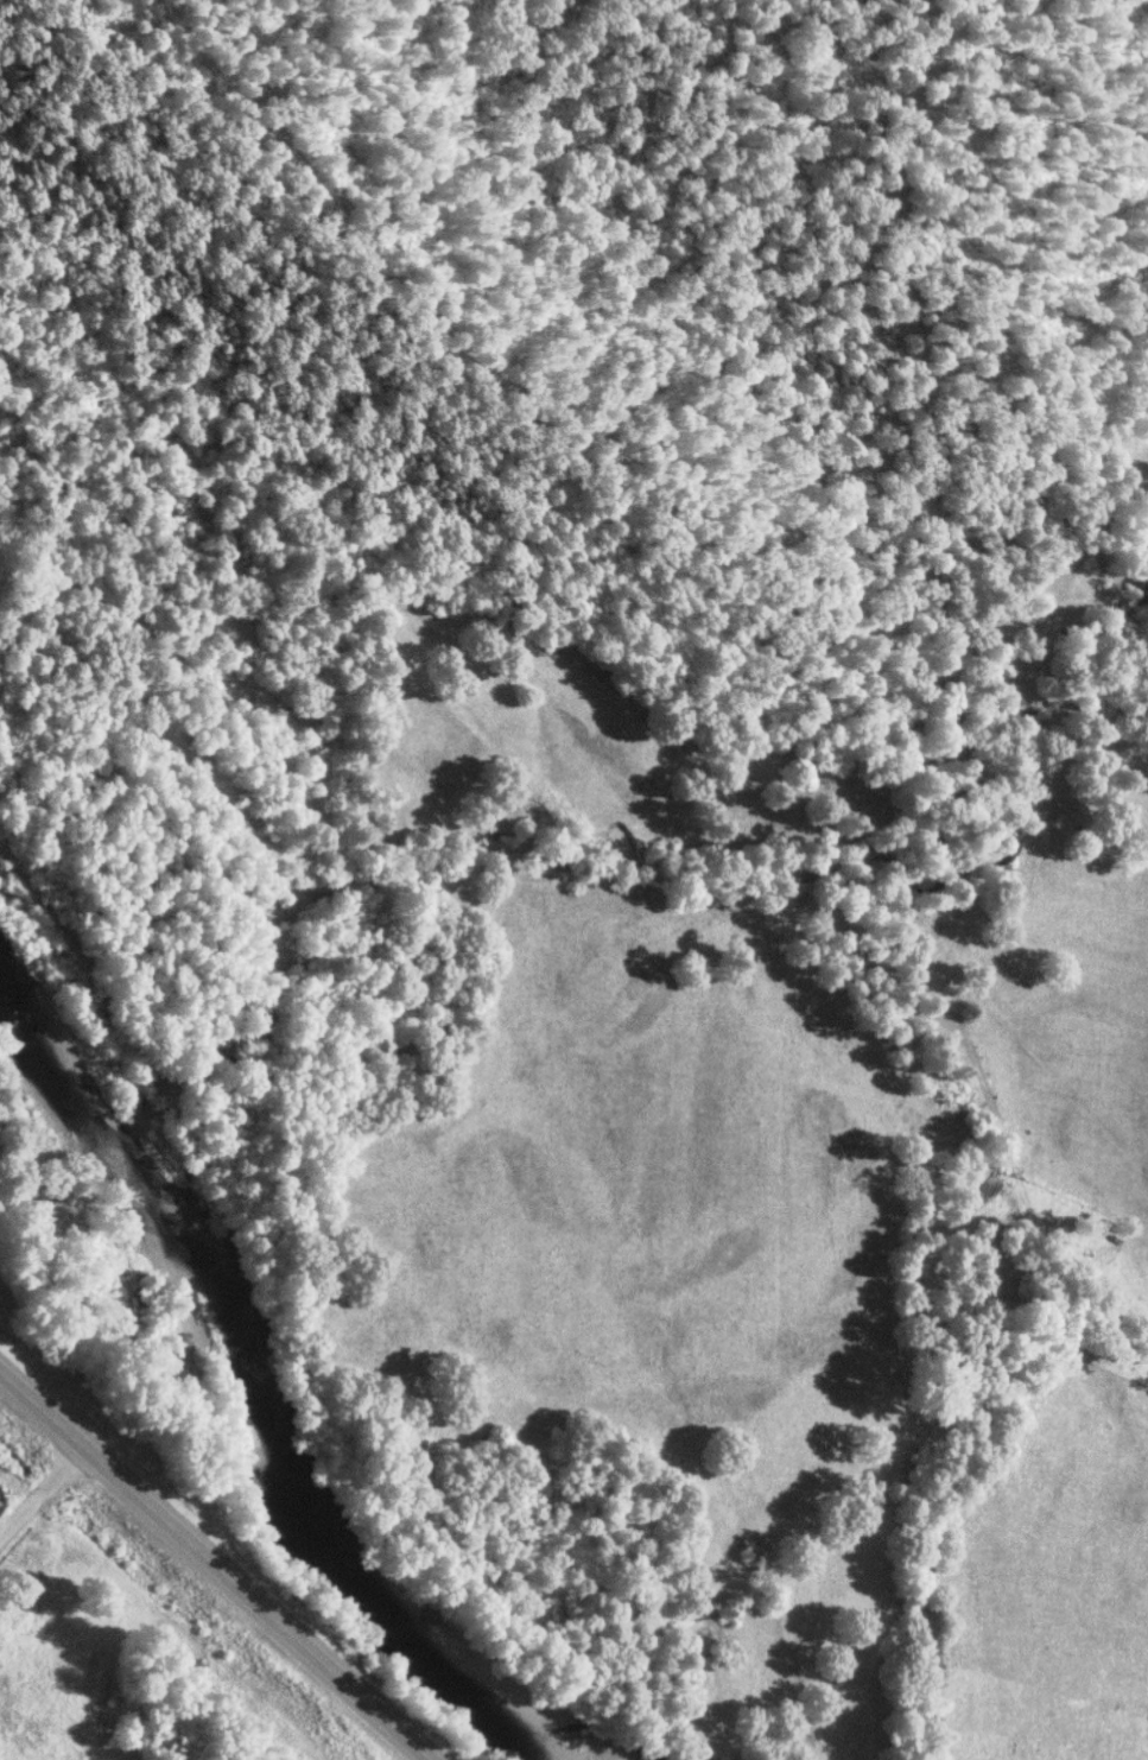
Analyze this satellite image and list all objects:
river: (255, 1382)
road: (43, 1495)
road: (216, 1566)

